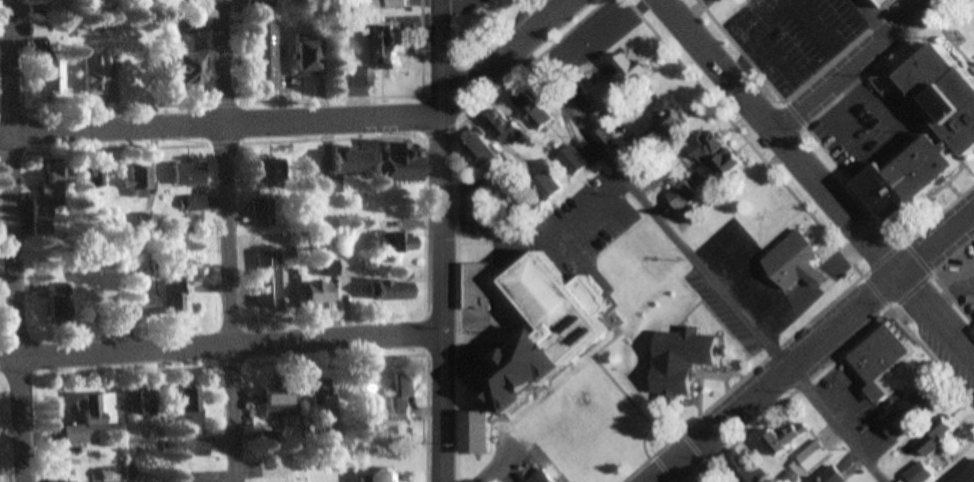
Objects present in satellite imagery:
building: (384, 2)
building: (895, 2)
building: (401, 3)
building: (263, 4)
building: (37, 11)
road: (873, 17)
building: (40, 29)
park: (938, 34)
building: (598, 39)
building: (386, 50)
road: (744, 51)
road: (848, 51)
road: (503, 55)
building: (268, 56)
building: (310, 57)
road: (536, 64)
road: (853, 64)
building: (194, 69)
building: (633, 70)
building: (97, 75)
road: (796, 76)
building: (359, 77)
building: (54, 78)
road: (854, 81)
road: (845, 104)
building: (534, 110)
building: (950, 110)
road: (829, 112)
road: (797, 116)
road: (219, 127)
building: (667, 127)
building: (509, 130)
road: (746, 137)
building: (609, 138)
building: (485, 149)
building: (716, 156)
park: (971, 160)
building: (397, 161)
building: (577, 163)
building: (346, 168)
building: (268, 170)
building: (191, 174)
building: (142, 183)
road: (819, 183)
building: (552, 184)
building: (54, 190)
building: (684, 195)
building: (198, 203)
building: (264, 211)
road: (939, 213)
road: (444, 240)
road: (15, 241)
road: (231, 241)
road: (428, 241)
building: (397, 242)
road: (846, 252)
building: (799, 260)
road: (955, 260)
road: (698, 265)
building: (332, 268)
building: (204, 274)
parking lot: (746, 275)
road: (746, 276)
building: (269, 280)
building: (352, 280)
building: (396, 290)
building: (322, 293)
building: (484, 299)
road: (955, 300)
building: (180, 303)
building: (147, 305)
road: (783, 305)
road: (952, 306)
building: (63, 309)
road: (896, 311)
building: (554, 332)
road: (233, 344)
road: (818, 352)
building: (684, 356)
building: (884, 356)
road: (934, 358)
road: (10, 360)
road: (262, 365)
road: (740, 376)
building: (321, 389)
road: (804, 389)
building: (365, 390)
building: (280, 392)
building: (405, 395)
building: (143, 403)
building: (191, 405)
building: (913, 412)
building: (94, 418)
building: (480, 431)
building: (940, 436)
building: (790, 438)
building: (197, 445)
road: (705, 457)
building: (808, 462)
building: (282, 467)
road: (662, 468)
building: (746, 468)
road: (692, 472)
building: (922, 473)
building: (965, 474)
building: (377, 476)
building: (834, 476)
building: (546, 477)

